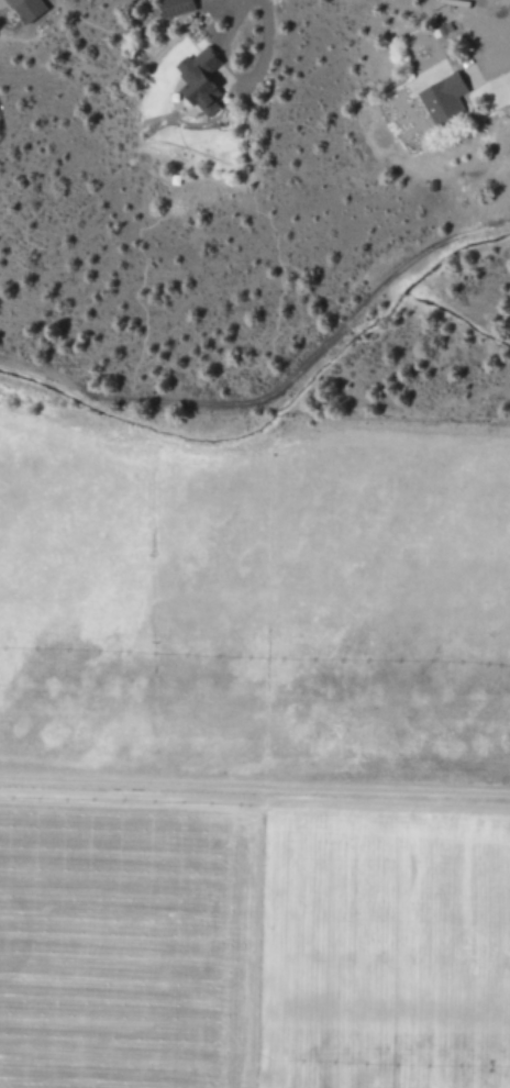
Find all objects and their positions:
building: (171, 7)
building: (22, 9)
building: (200, 79)
building: (440, 99)
crop: (254, 752)

